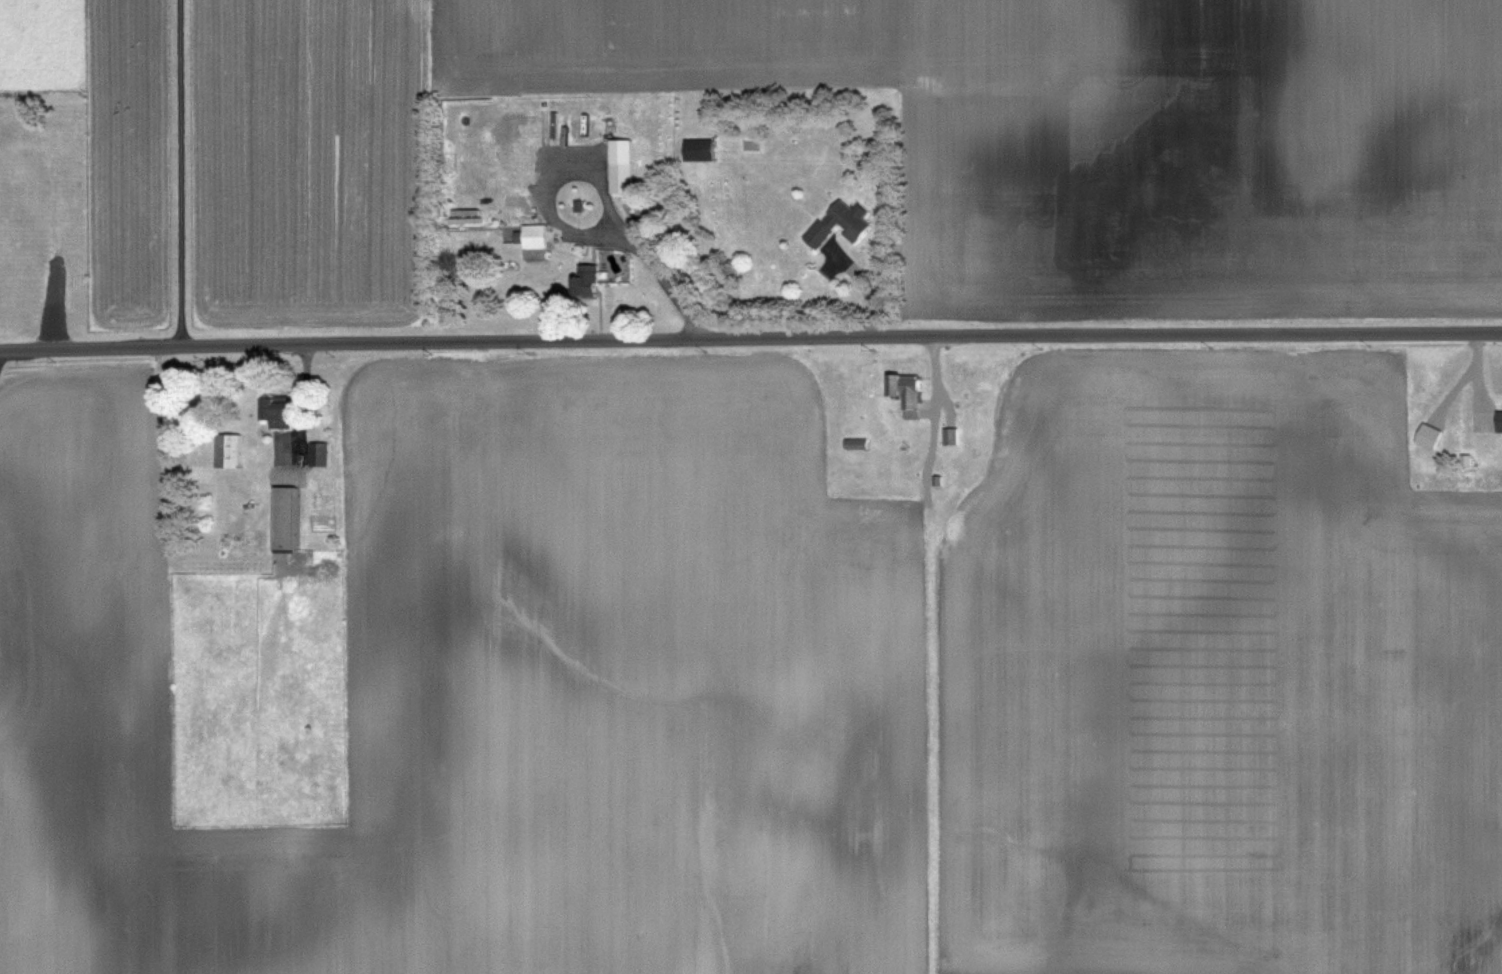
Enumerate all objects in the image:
building: (509, 147)
building: (698, 149)
building: (620, 165)
road: (182, 171)
road: (554, 201)
building: (838, 222)
building: (534, 241)
building: (584, 280)
road: (666, 288)
road: (750, 334)
building: (905, 392)
building: (276, 411)
building: (1499, 420)
building: (949, 435)
building: (1427, 435)
building: (855, 443)
building: (227, 451)
building: (318, 454)
building: (285, 518)
crop: (489, 689)

